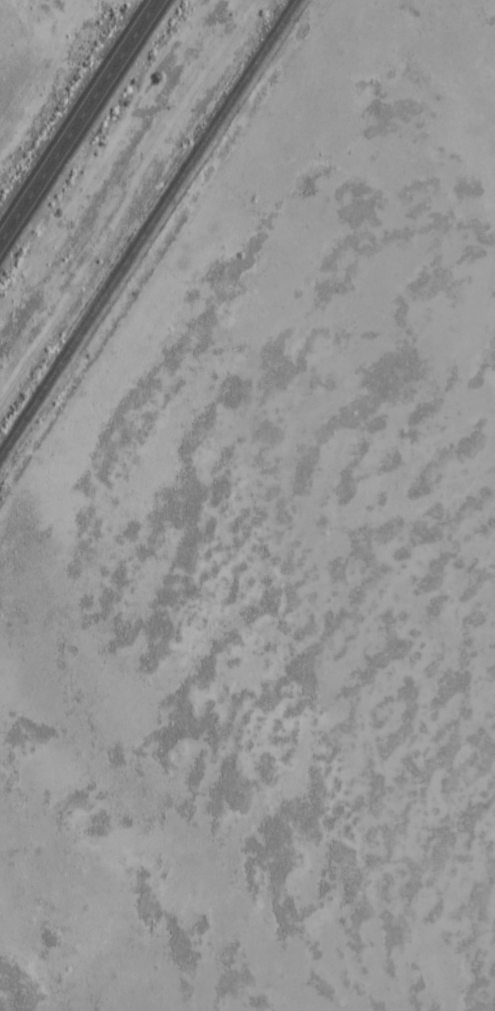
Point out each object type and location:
road: (76, 117)
railway: (146, 225)

